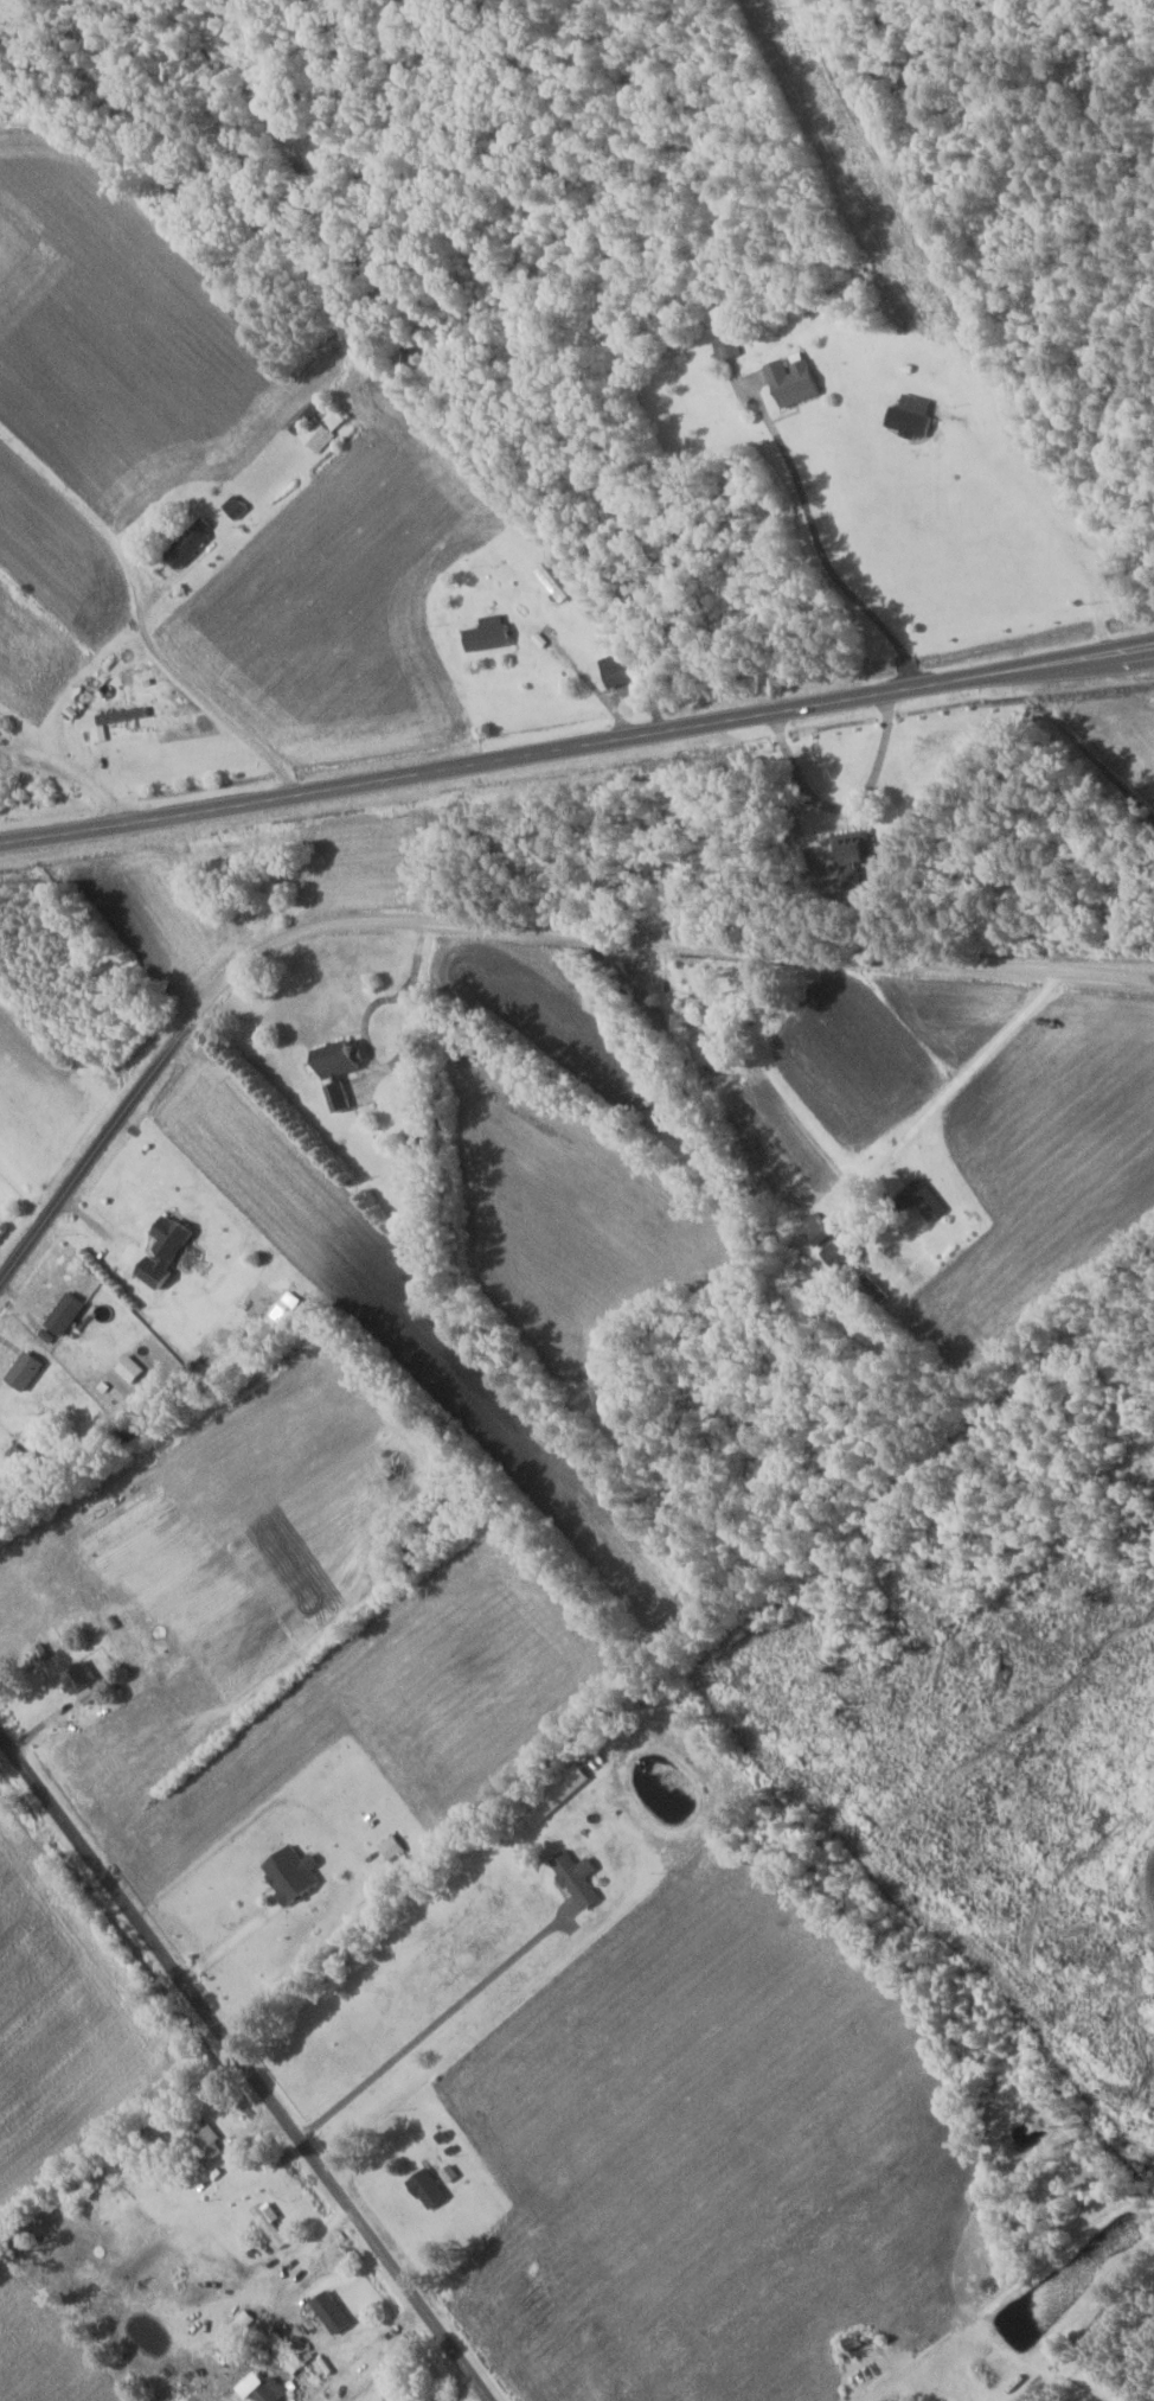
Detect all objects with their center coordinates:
building: (201, 177)
building: (797, 379)
building: (915, 415)
building: (320, 423)
building: (238, 506)
building: (193, 542)
building: (553, 582)
building: (493, 633)
road: (636, 649)
building: (624, 669)
building: (135, 715)
road: (577, 746)
building: (851, 847)
road: (493, 925)
building: (695, 1003)
building: (342, 1069)
road: (962, 1077)
building: (416, 1147)
building: (919, 1199)
building: (822, 1226)
building: (178, 1233)
building: (846, 1249)
building: (877, 1285)
building: (70, 1311)
building: (30, 1368)
building: (1, 1498)
building: (83, 1678)
building: (563, 1793)
building: (583, 1878)
road: (227, 1943)
road: (244, 2067)
building: (210, 2134)
building: (434, 2189)
building: (274, 2224)
building: (336, 2312)
building: (290, 2358)
building: (268, 2388)
road: (876, 2392)
building: (406, 2400)
building: (887, 2400)

